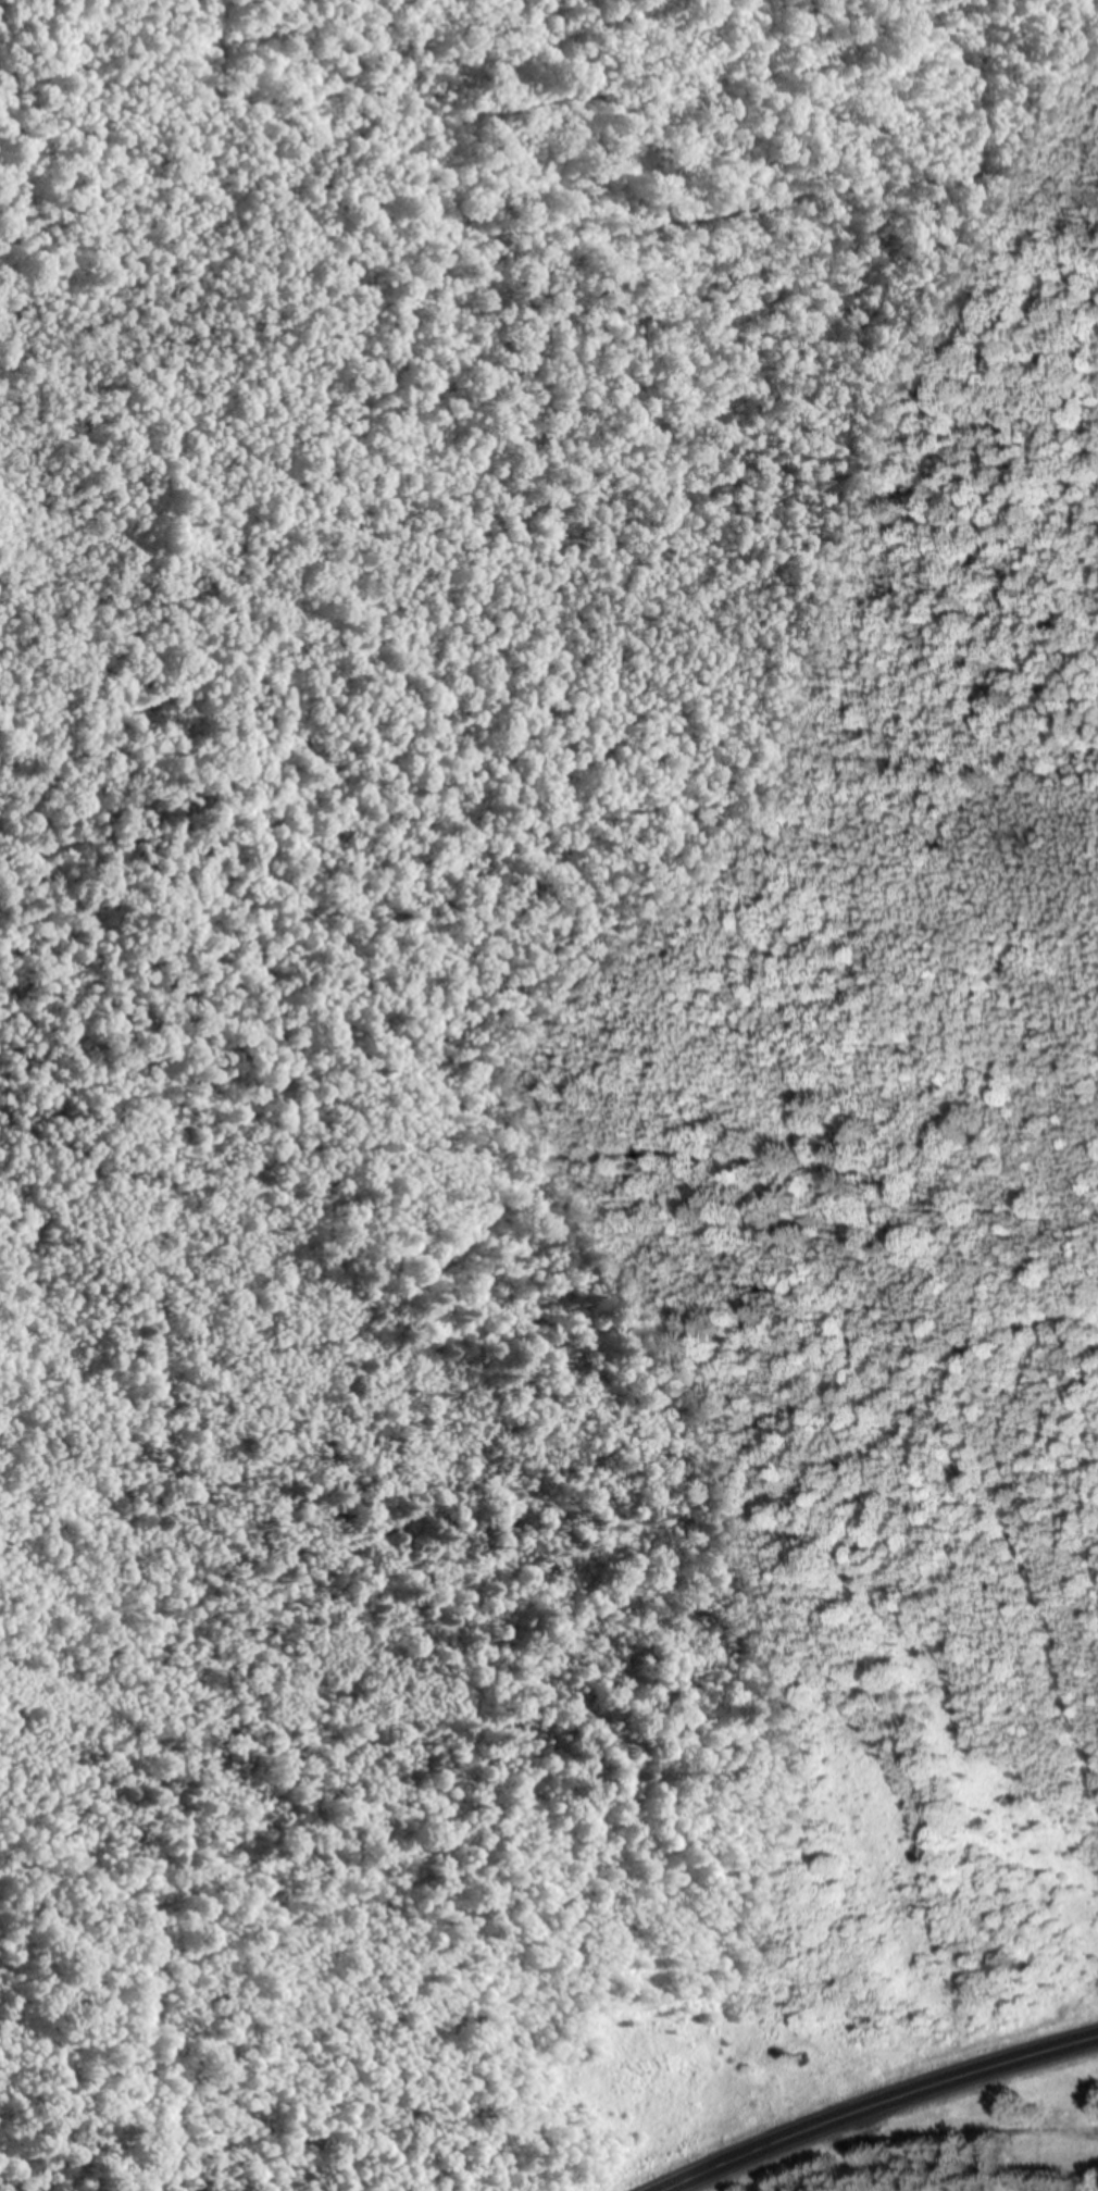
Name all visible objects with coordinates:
road: (873, 2103)

